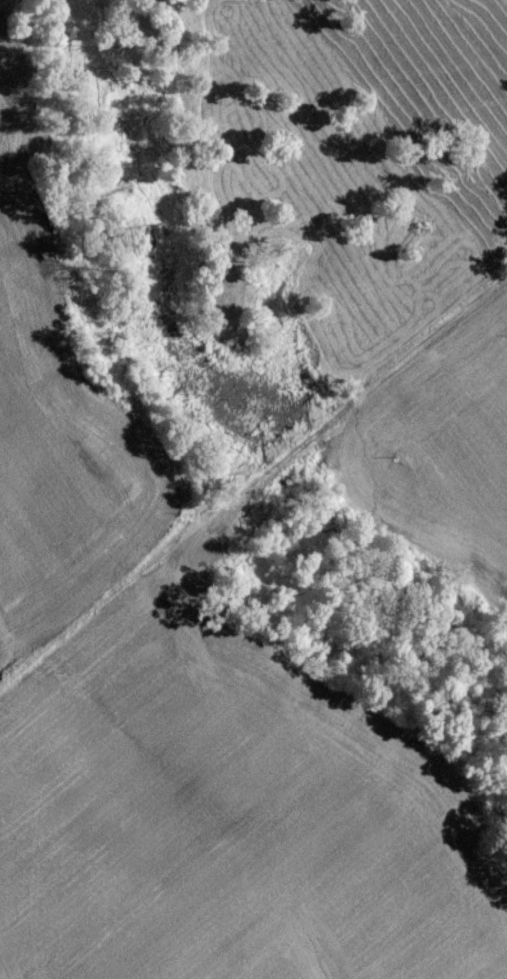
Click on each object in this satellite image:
road: (253, 480)

